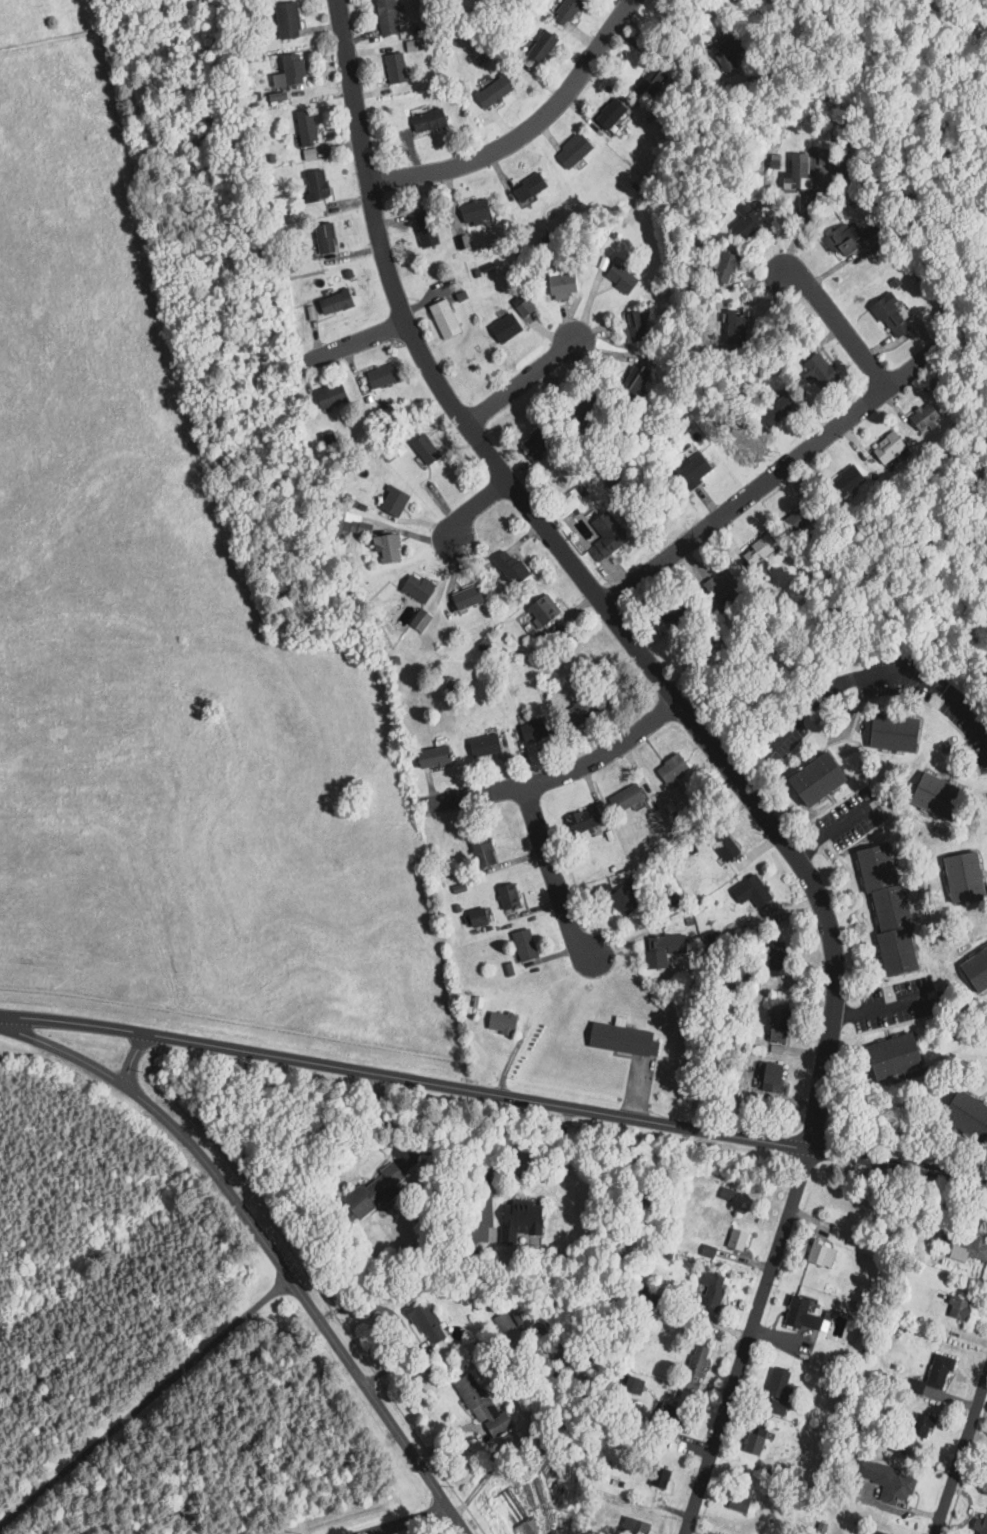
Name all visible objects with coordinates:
building: (564, 11)
building: (384, 16)
building: (285, 18)
road: (697, 27)
building: (412, 44)
building: (540, 45)
building: (393, 66)
building: (290, 67)
building: (649, 79)
building: (490, 91)
building: (608, 113)
building: (425, 119)
building: (303, 126)
road: (526, 131)
building: (570, 150)
building: (307, 153)
building: (797, 170)
building: (314, 183)
building: (527, 186)
building: (472, 210)
building: (744, 220)
building: (322, 236)
building: (426, 236)
building: (844, 239)
building: (724, 268)
building: (617, 276)
building: (559, 284)
building: (332, 301)
building: (520, 304)
building: (888, 314)
building: (442, 317)
building: (631, 322)
road: (838, 322)
building: (502, 327)
road: (354, 342)
building: (816, 368)
building: (378, 375)
road: (523, 381)
building: (329, 395)
building: (773, 410)
building: (922, 418)
building: (422, 447)
building: (885, 447)
building: (394, 450)
building: (531, 450)
building: (691, 466)
road: (766, 479)
building: (842, 483)
building: (391, 501)
road: (474, 506)
building: (603, 535)
building: (384, 546)
building: (507, 565)
building: (715, 586)
building: (416, 587)
building: (464, 597)
building: (540, 608)
road: (858, 679)
building: (586, 710)
building: (539, 728)
building: (897, 731)
road: (710, 743)
building: (486, 745)
building: (436, 756)
building: (675, 768)
road: (560, 774)
building: (821, 778)
building: (941, 795)
building: (629, 797)
building: (585, 820)
road: (833, 830)
building: (721, 844)
building: (485, 851)
road: (554, 876)
building: (968, 876)
building: (759, 890)
building: (511, 896)
building: (627, 899)
building: (892, 909)
building: (481, 916)
building: (527, 945)
building: (664, 949)
building: (779, 958)
building: (978, 968)
road: (883, 1008)
building: (504, 1023)
building: (781, 1027)
building: (625, 1039)
building: (899, 1056)
road: (134, 1058)
building: (774, 1078)
road: (493, 1094)
building: (969, 1114)
road: (383, 1119)
road: (513, 1148)
building: (376, 1191)
building: (724, 1193)
building: (523, 1220)
road: (256, 1231)
building: (739, 1239)
building: (973, 1246)
building: (824, 1253)
building: (714, 1291)
building: (962, 1309)
building: (805, 1314)
building: (505, 1320)
building: (428, 1322)
building: (698, 1367)
building: (942, 1371)
building: (630, 1384)
building: (781, 1391)
road: (143, 1400)
building: (484, 1405)
building: (671, 1422)
building: (915, 1432)
building: (755, 1444)
road: (960, 1452)
road: (965, 1468)
building: (662, 1478)
building: (890, 1480)
building: (741, 1502)
road: (457, 1521)
road: (404, 1522)
building: (982, 1523)
building: (636, 1526)
building: (882, 1532)

